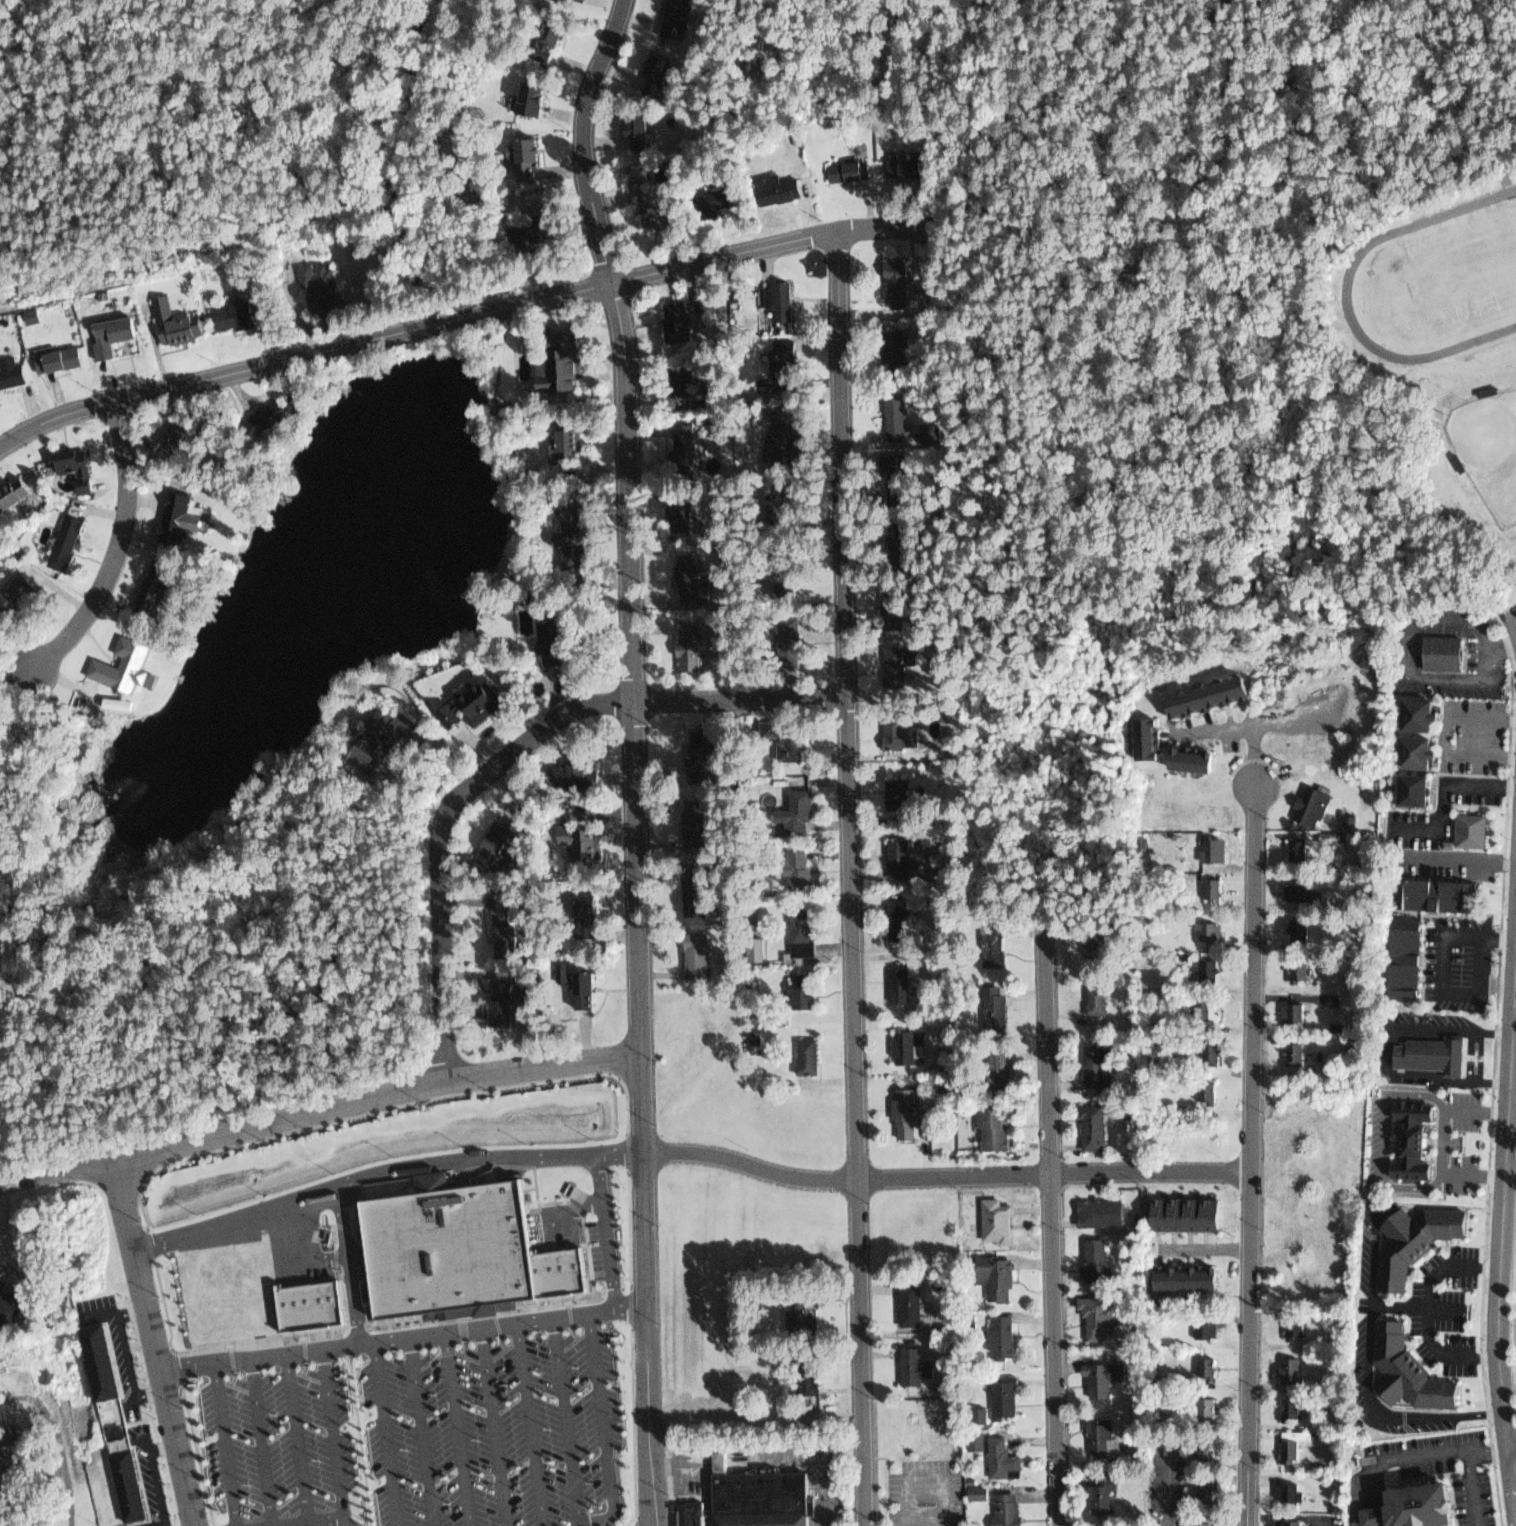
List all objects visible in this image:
building: (560, 2)
building: (672, 16)
building: (548, 41)
building: (653, 68)
building: (529, 98)
building: (636, 126)
building: (521, 155)
building: (910, 163)
building: (851, 167)
building: (773, 187)
building: (637, 195)
building: (715, 197)
building: (549, 228)
park: (1464, 273)
building: (906, 279)
building: (311, 282)
building: (778, 301)
building: (222, 311)
building: (31, 316)
road: (466, 316)
building: (669, 319)
building: (167, 321)
building: (103, 329)
building: (898, 343)
building: (50, 355)
building: (556, 360)
building: (778, 367)
building: (6, 368)
building: (685, 383)
building: (293, 402)
building: (898, 409)
building: (253, 412)
building: (265, 420)
building: (785, 427)
building: (931, 433)
building: (169, 434)
building: (569, 437)
building: (683, 440)
park: (1489, 443)
building: (55, 466)
building: (899, 476)
building: (10, 487)
building: (793, 497)
building: (679, 505)
building: (175, 512)
building: (570, 533)
building: (61, 536)
road: (113, 549)
building: (905, 549)
building: (678, 571)
building: (793, 571)
building: (152, 579)
building: (12, 586)
building: (901, 608)
road: (1508, 608)
road: (1515, 617)
building: (553, 632)
road: (1492, 635)
building: (798, 640)
road: (1508, 642)
building: (685, 649)
building: (1451, 650)
building: (900, 658)
building: (116, 660)
building: (1207, 688)
building: (471, 699)
building: (1419, 709)
road: (1258, 719)
building: (900, 723)
building: (771, 728)
building: (1147, 730)
road: (1452, 730)
building: (381, 737)
building: (794, 737)
building: (1416, 746)
road: (1261, 750)
building: (700, 753)
building: (1193, 755)
road: (512, 756)
road: (633, 756)
building: (562, 772)
building: (1412, 788)
building: (902, 790)
road: (1451, 796)
building: (3, 799)
building: (1318, 799)
building: (801, 804)
building: (695, 827)
building: (1474, 827)
building: (1333, 838)
building: (579, 842)
building: (487, 845)
building: (1215, 845)
building: (1302, 846)
building: (899, 853)
road: (1463, 858)
building: (799, 860)
road: (851, 877)
building: (1210, 882)
building: (1300, 888)
building: (703, 889)
building: (1434, 895)
building: (898, 908)
building: (582, 914)
building: (807, 925)
building: (499, 926)
building: (1303, 926)
building: (1214, 928)
road: (1503, 930)
building: (1000, 941)
building: (1097, 942)
building: (761, 944)
building: (701, 950)
building: (1406, 952)
building: (1213, 965)
building: (1300, 965)
building: (1348, 967)
building: (907, 978)
building: (571, 982)
building: (527, 985)
building: (803, 987)
road: (1448, 987)
building: (1100, 994)
building: (497, 995)
building: (1332, 1000)
building: (1001, 1001)
building: (1217, 1007)
building: (1301, 1010)
road: (1515, 1011)
building: (503, 1012)
building: (760, 1037)
building: (911, 1040)
building: (755, 1042)
road: (1388, 1046)
building: (1298, 1050)
building: (1213, 1051)
building: (1434, 1052)
building: (811, 1053)
road: (1482, 1053)
building: (1000, 1058)
building: (1100, 1061)
road: (1421, 1088)
building: (1210, 1093)
building: (904, 1100)
road: (318, 1107)
building: (1097, 1121)
building: (999, 1124)
road: (1384, 1132)
building: (1412, 1133)
road: (1447, 1137)
road: (1254, 1153)
road: (382, 1170)
road: (946, 1175)
road: (1416, 1180)
building: (1100, 1211)
building: (1185, 1211)
building: (999, 1219)
road: (1051, 1223)
road: (606, 1232)
building: (1414, 1236)
road: (1208, 1244)
road: (1499, 1247)
building: (452, 1248)
building: (1097, 1258)
road: (1448, 1260)
road: (287, 1262)
road: (348, 1264)
road: (13, 1267)
building: (563, 1272)
building: (998, 1273)
building: (1185, 1274)
road: (1423, 1302)
building: (9, 1305)
building: (915, 1305)
building: (309, 1306)
building: (806, 1307)
building: (1099, 1313)
road: (130, 1315)
building: (1301, 1316)
building: (1213, 1328)
building: (1294, 1329)
building: (1000, 1337)
road: (403, 1338)
road: (151, 1341)
road: (1447, 1348)
road: (125, 1357)
building: (919, 1359)
building: (99, 1360)
building: (1210, 1363)
building: (1293, 1367)
road: (1371, 1367)
building: (1409, 1367)
building: (808, 1369)
building: (1103, 1379)
road: (148, 1393)
building: (1003, 1397)
building: (1295, 1407)
building: (1209, 1409)
building: (980, 1415)
road: (566, 1422)
road: (531, 1424)
road: (494, 1427)
road: (458, 1429)
road: (603, 1431)
road: (421, 1432)
building: (5, 1433)
road: (336, 1433)
road: (384, 1434)
road: (297, 1438)
building: (1104, 1438)
road: (61, 1439)
road: (262, 1442)
road: (1468, 1443)
road: (225, 1444)
road: (1511, 1444)
building: (1210, 1446)
road: (1491, 1446)
road: (159, 1447)
building: (1293, 1451)
building: (994, 1453)
building: (1, 1459)
building: (1, 1463)
road: (146, 1464)
building: (0, 1470)
road: (926, 1476)
building: (125, 1483)
road: (1172, 1484)
road: (1352, 1484)
building: (1209, 1490)
building: (1290, 1491)
road: (1382, 1491)
road: (829, 1492)
road: (1373, 1493)
building: (978, 1494)
building: (1101, 1496)
road: (1365, 1496)
building: (762, 1497)
building: (1412, 1506)
building: (1007, 1510)
building: (691, 1513)
road: (1292, 1518)
road: (323, 1520)
building: (1207, 1523)
building: (1291, 1523)
road: (156, 1525)

